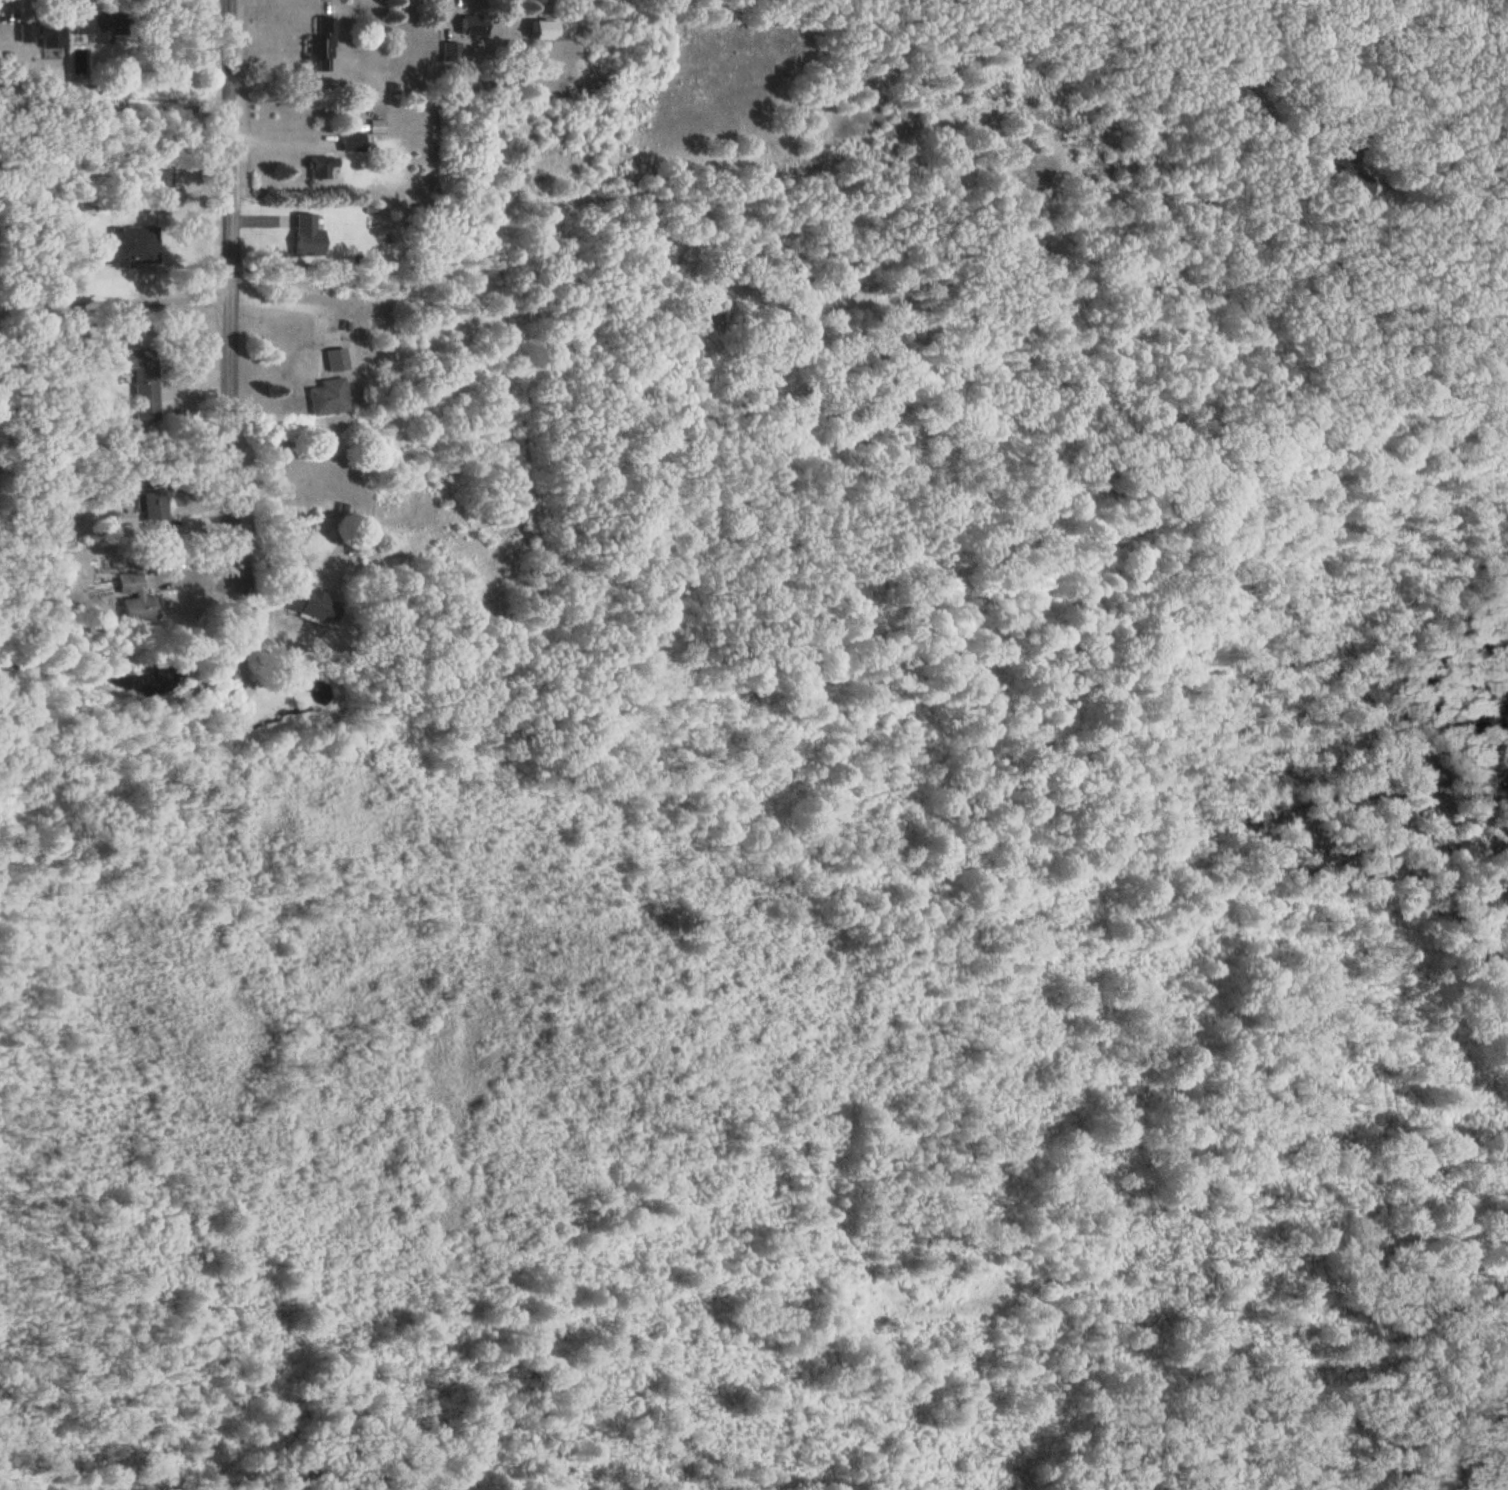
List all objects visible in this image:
building: (470, 23)
building: (98, 24)
building: (549, 27)
building: (41, 30)
road: (1253, 33)
building: (448, 51)
building: (316, 52)
building: (349, 140)
road: (1314, 146)
building: (321, 166)
building: (1346, 169)
building: (159, 179)
building: (127, 245)
road: (225, 275)
road: (112, 302)
road: (280, 302)
building: (708, 311)
building: (334, 358)
building: (139, 379)
building: (325, 396)
building: (131, 598)
building: (313, 604)

